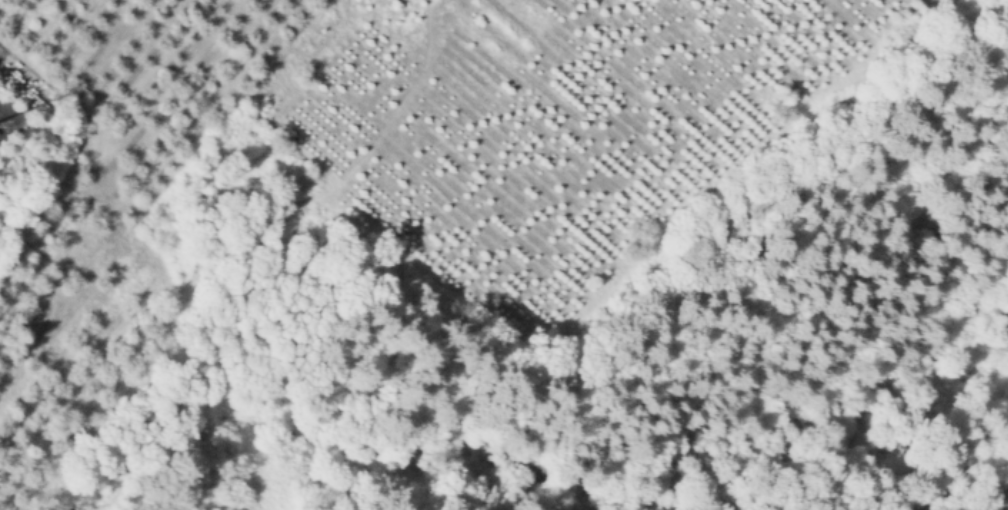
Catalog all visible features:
crop: (356, 139)

